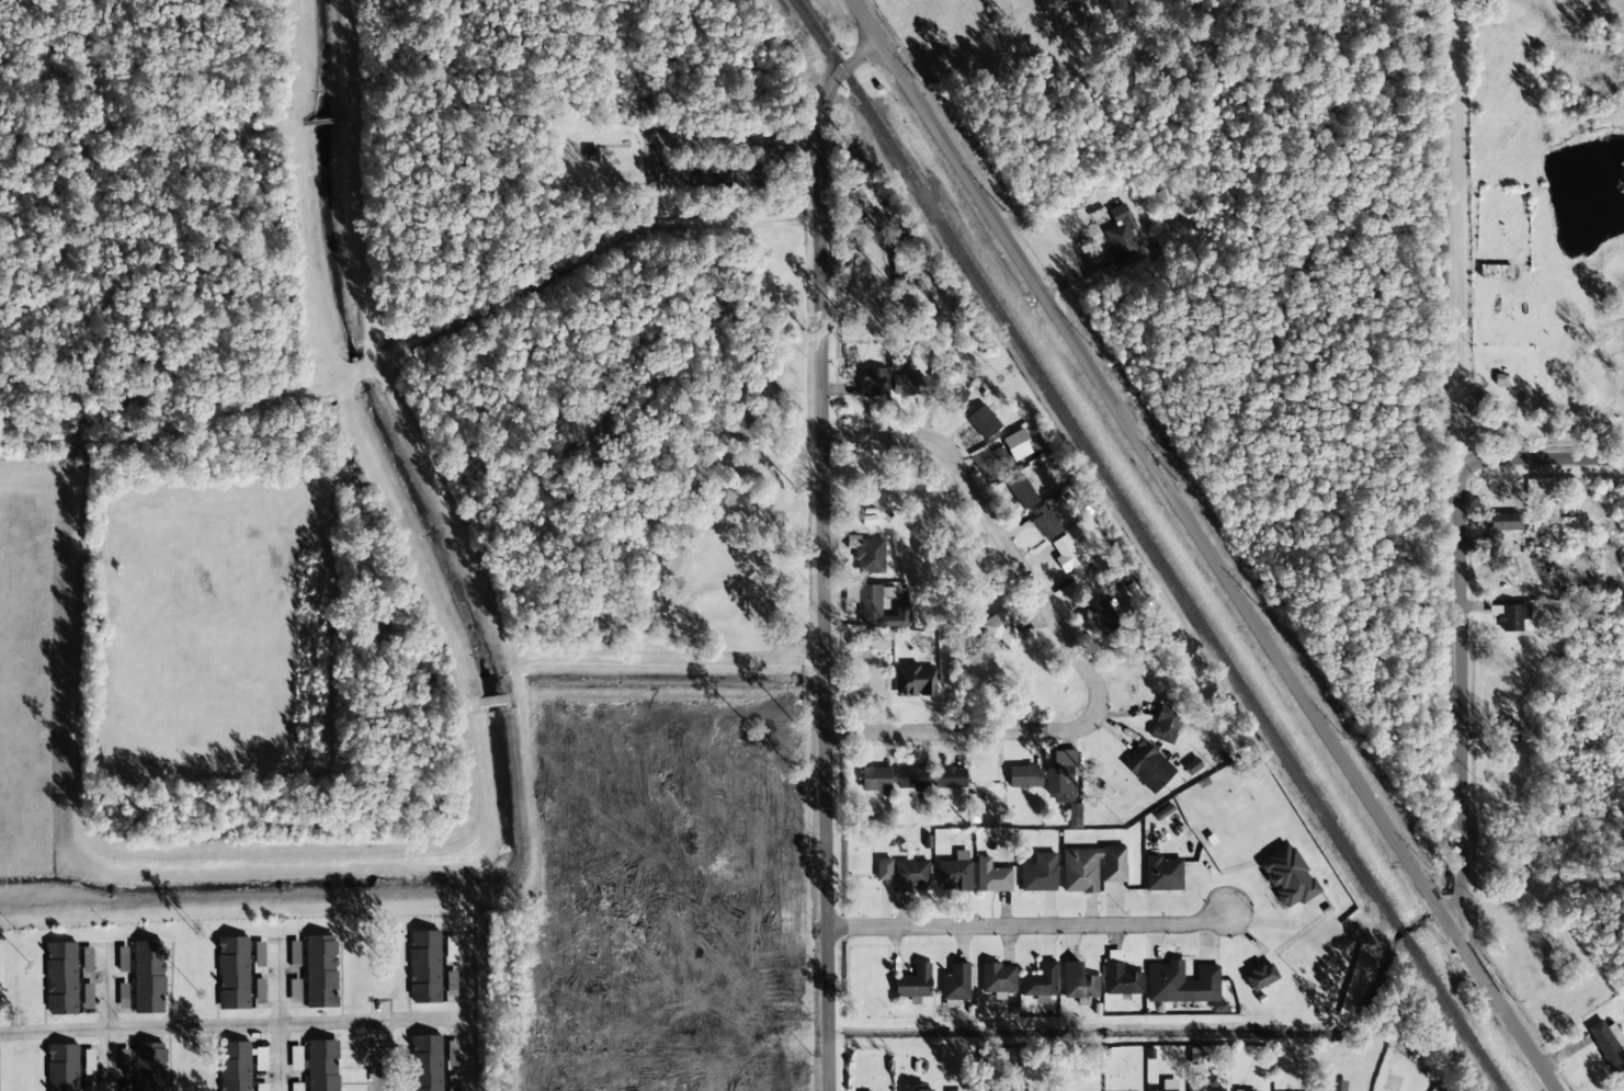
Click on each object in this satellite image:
building: (591, 156)
building: (864, 196)
building: (1121, 232)
building: (873, 382)
building: (907, 385)
building: (951, 393)
building: (983, 422)
building: (1018, 444)
road: (1546, 458)
building: (1021, 491)
road: (985, 508)
building: (1549, 510)
building: (1045, 522)
building: (1504, 522)
railway: (1150, 545)
road: (1206, 545)
road: (826, 553)
building: (1066, 553)
building: (871, 556)
building: (1101, 616)
building: (1512, 617)
building: (1000, 629)
building: (915, 681)
road: (1463, 705)
building: (1166, 725)
road: (987, 732)
building: (1148, 766)
building: (1024, 776)
building: (1061, 776)
building: (911, 777)
building: (950, 777)
building: (876, 780)
building: (1091, 868)
building: (884, 870)
building: (954, 873)
building: (1038, 873)
building: (1162, 874)
building: (911, 875)
building: (992, 876)
building: (1287, 876)
road: (1032, 927)
building: (259, 954)
building: (424, 966)
building: (321, 971)
building: (234, 973)
building: (1261, 976)
building: (148, 977)
building: (61, 978)
building: (998, 978)
building: (1121, 979)
building: (1041, 981)
building: (913, 982)
building: (956, 982)
building: (1078, 982)
building: (1183, 985)
road: (473, 1011)
road: (277, 1020)
road: (429, 1020)
road: (106, 1022)
road: (192, 1027)
building: (1608, 1044)
road: (381, 1056)
building: (124, 1060)
building: (427, 1062)
building: (322, 1065)
building: (236, 1066)
building: (63, 1067)
building: (150, 1067)
building: (1204, 1083)
building: (1168, 1086)
building: (1337, 1086)
building: (261, 1087)
building: (916, 1088)
building: (1253, 1090)

